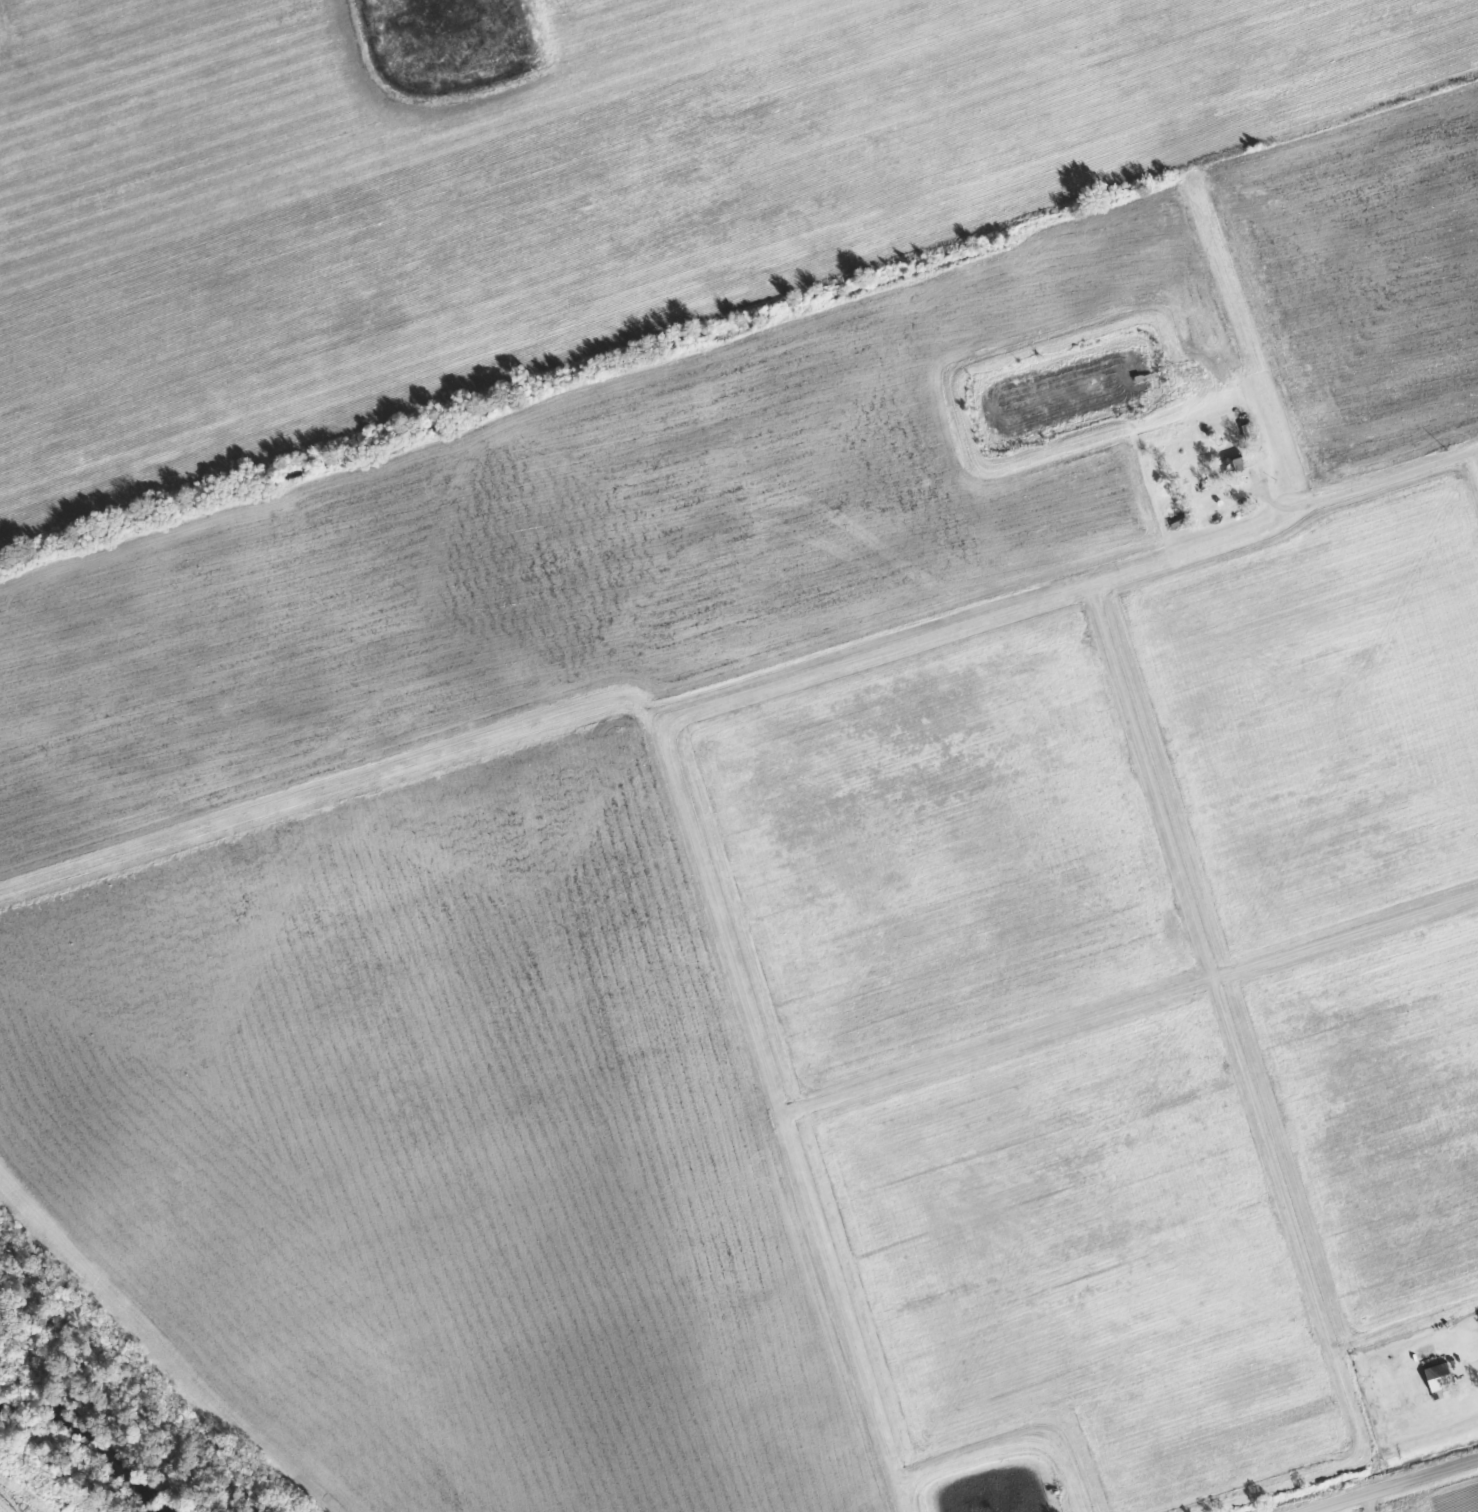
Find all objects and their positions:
road: (1364, 497)
building: (1440, 1377)
road: (1400, 1487)

